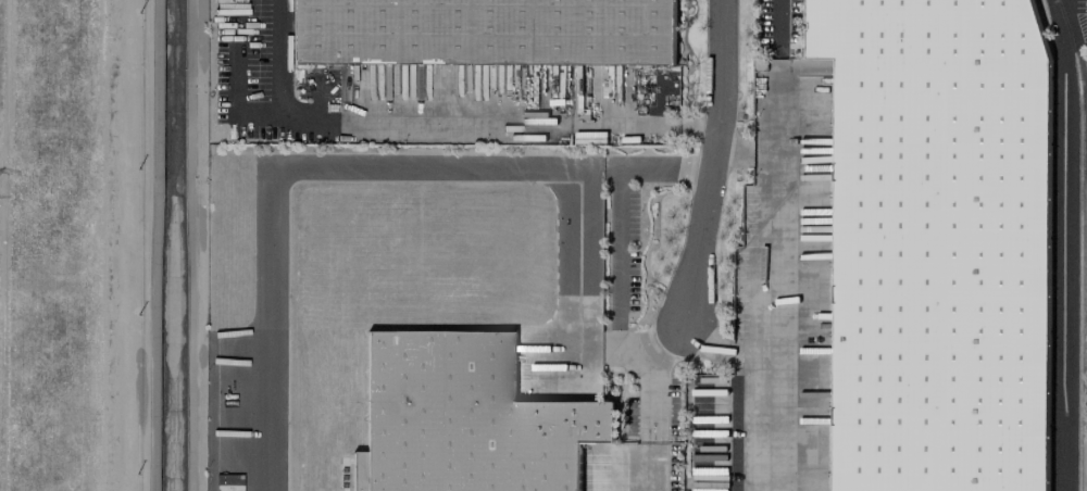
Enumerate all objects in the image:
road: (774, 23)
building: (485, 32)
road: (446, 121)
road: (741, 149)
road: (714, 160)
road: (268, 174)
building: (937, 243)
railway: (1083, 243)
road: (1062, 244)
road: (617, 250)
road: (576, 257)
road: (765, 280)
road: (722, 345)
building: (467, 418)
road: (653, 420)

